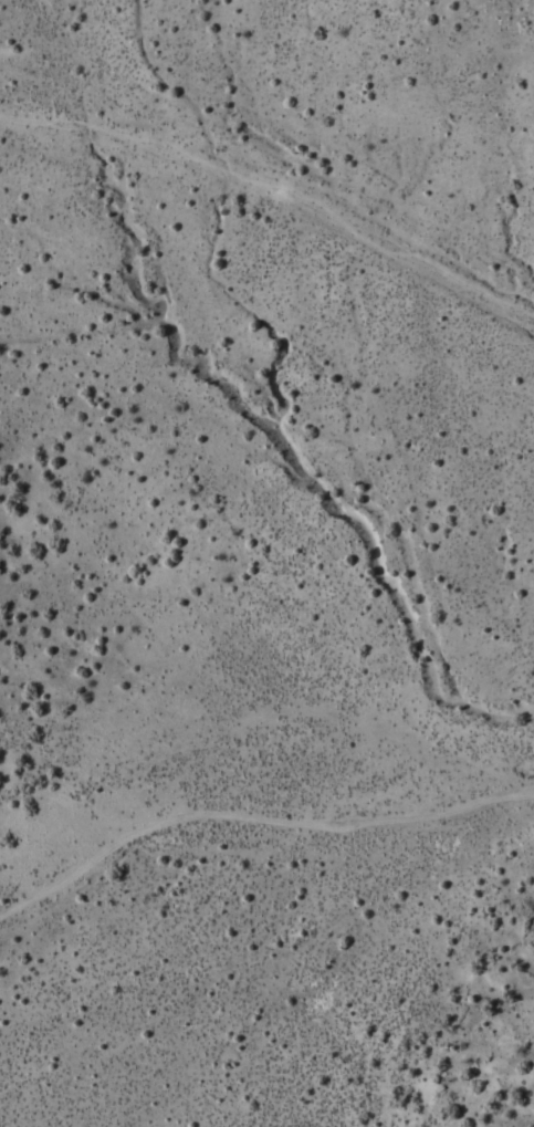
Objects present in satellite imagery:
road: (458, 27)
road: (272, 146)

